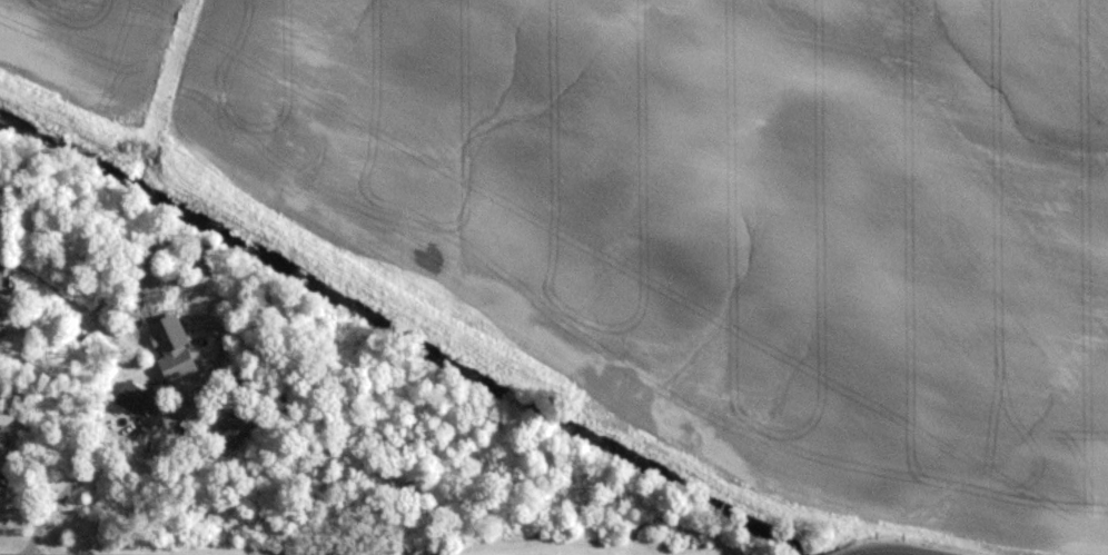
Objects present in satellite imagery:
crop: (704, 207)
road: (883, 552)

